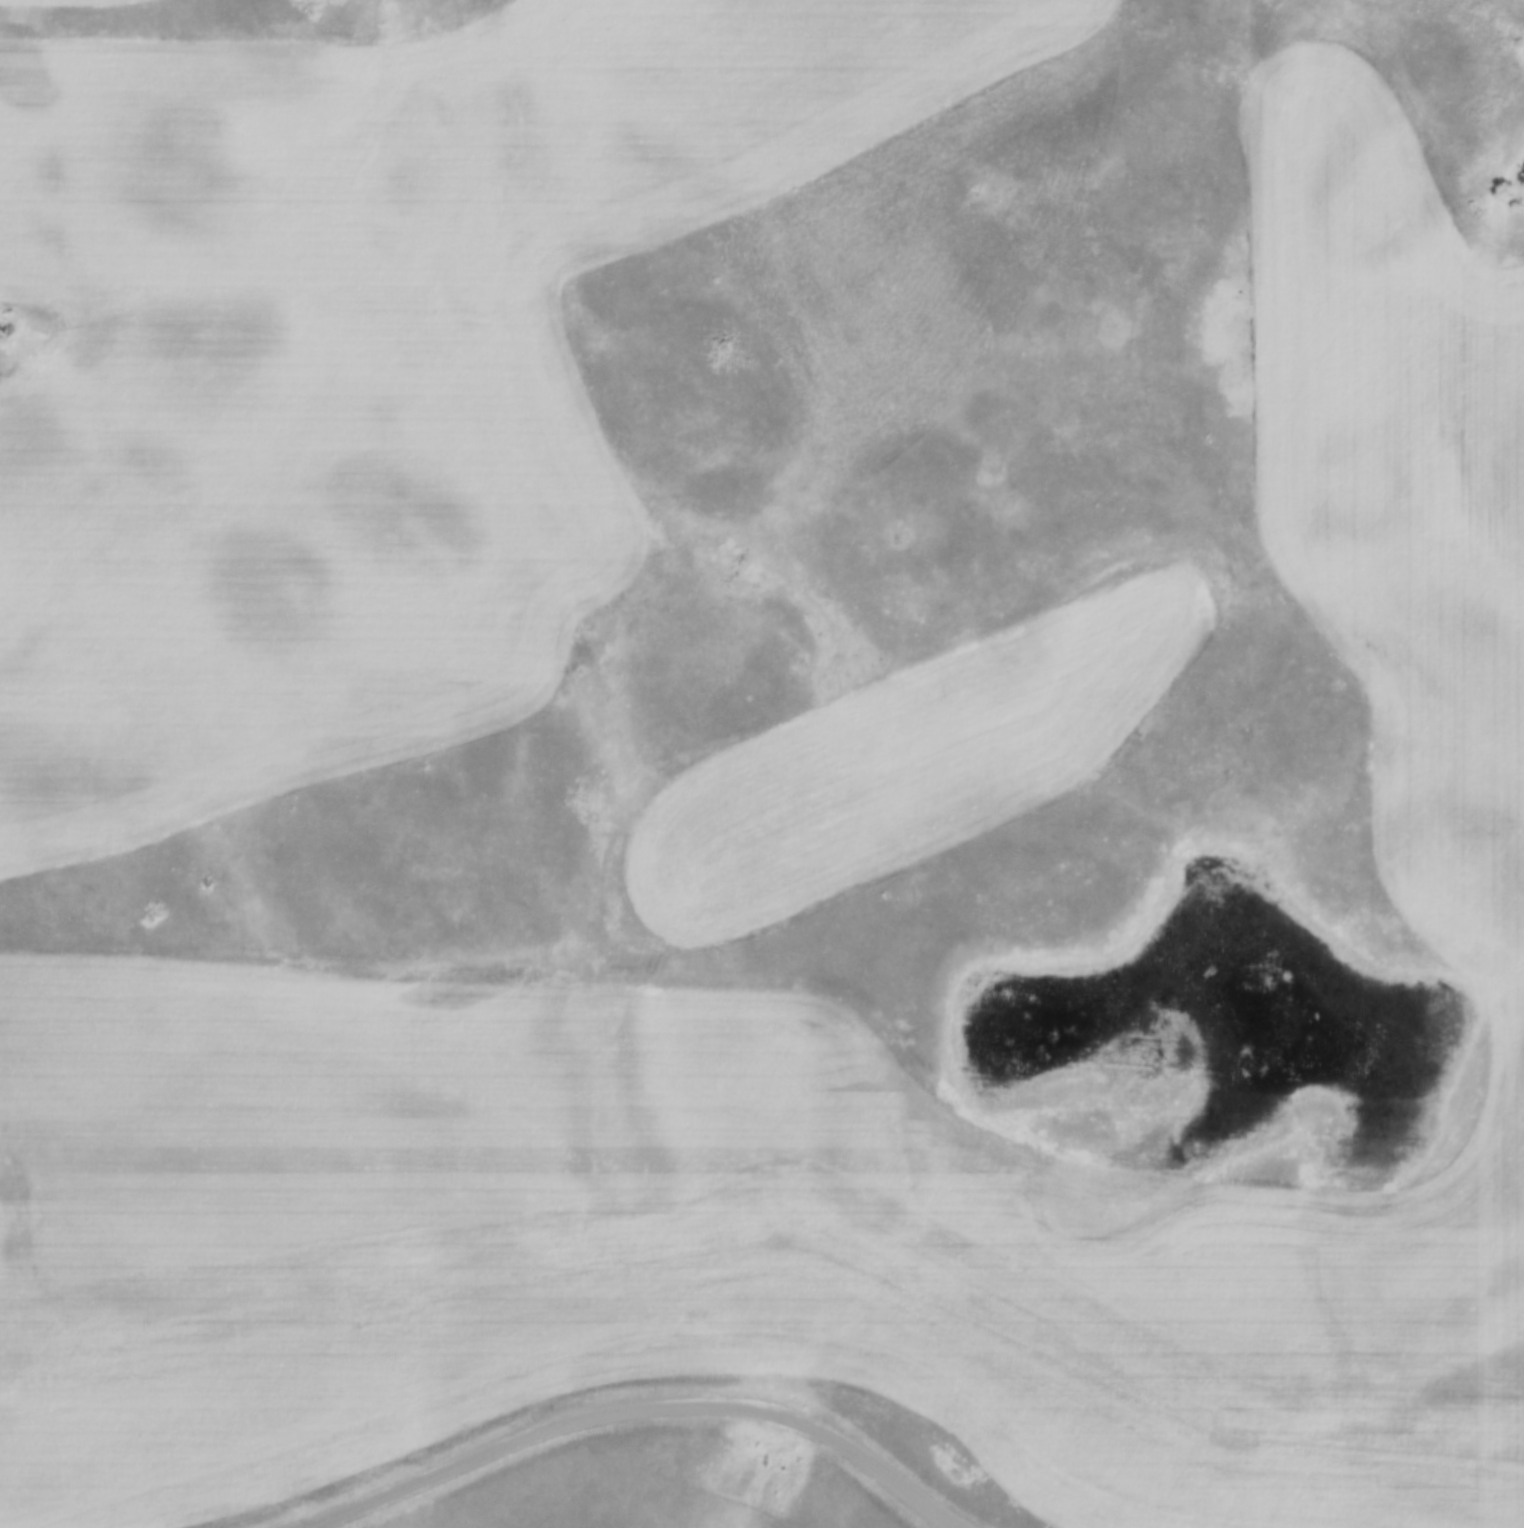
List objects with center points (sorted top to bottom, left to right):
road: (648, 1402)

